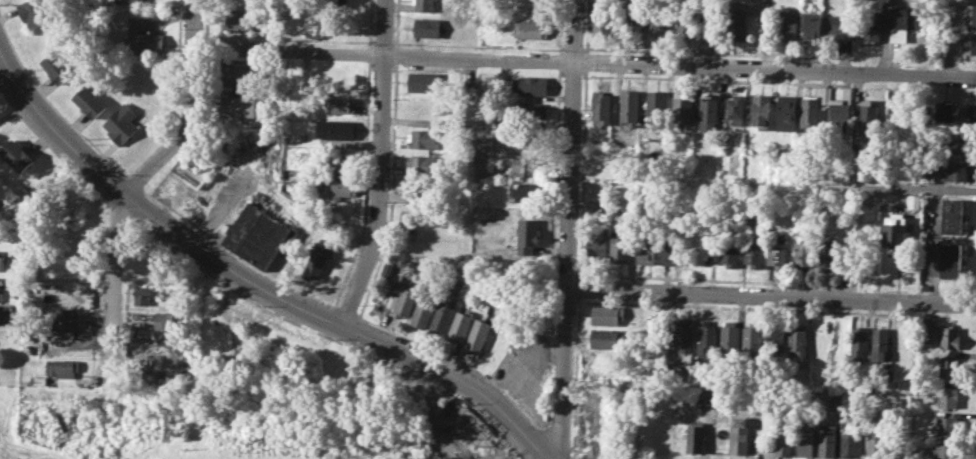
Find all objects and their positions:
building: (133, 1)
building: (428, 6)
building: (535, 8)
building: (968, 12)
building: (34, 13)
building: (241, 19)
building: (633, 19)
building: (660, 19)
building: (603, 20)
building: (686, 21)
building: (903, 21)
building: (712, 22)
building: (737, 23)
building: (871, 24)
building: (789, 26)
building: (813, 26)
building: (839, 26)
building: (428, 27)
building: (531, 29)
building: (143, 36)
building: (968, 43)
road: (586, 61)
building: (58, 66)
building: (240, 75)
building: (425, 82)
building: (532, 84)
building: (89, 101)
building: (239, 104)
building: (341, 104)
building: (839, 104)
building: (601, 106)
building: (656, 106)
building: (631, 107)
building: (425, 108)
building: (735, 108)
building: (533, 110)
building: (762, 110)
building: (811, 110)
building: (683, 111)
building: (788, 111)
building: (953, 111)
building: (709, 112)
building: (871, 113)
building: (121, 123)
building: (335, 128)
building: (422, 138)
building: (958, 142)
building: (484, 143)
building: (17, 155)
building: (343, 162)
building: (423, 162)
building: (484, 164)
road: (380, 165)
building: (522, 165)
building: (949, 171)
building: (313, 178)
road: (131, 183)
building: (340, 187)
building: (528, 190)
building: (421, 193)
building: (913, 201)
building: (952, 216)
road: (935, 226)
road: (569, 229)
building: (308, 230)
building: (896, 232)
building: (258, 233)
building: (528, 234)
building: (597, 243)
building: (620, 246)
building: (647, 247)
building: (672, 248)
building: (804, 250)
building: (827, 250)
building: (730, 251)
building: (753, 251)
building: (779, 251)
building: (950, 260)
building: (315, 263)
building: (386, 269)
road: (253, 282)
building: (62, 288)
road: (772, 293)
building: (142, 295)
building: (1, 296)
building: (404, 299)
building: (391, 300)
building: (422, 312)
building: (608, 314)
building: (441, 316)
building: (66, 322)
building: (162, 322)
building: (460, 324)
building: (656, 329)
building: (938, 333)
building: (477, 334)
building: (684, 335)
building: (730, 336)
building: (607, 337)
building: (707, 338)
building: (752, 338)
building: (775, 338)
building: (798, 339)
building: (860, 340)
building: (880, 343)
building: (949, 365)
building: (57, 370)
building: (947, 396)
building: (837, 401)
building: (466, 426)
building: (947, 426)
building: (739, 435)
building: (783, 435)
building: (696, 437)
building: (827, 439)
building: (805, 440)
building: (849, 443)
building: (875, 443)
building: (945, 451)

